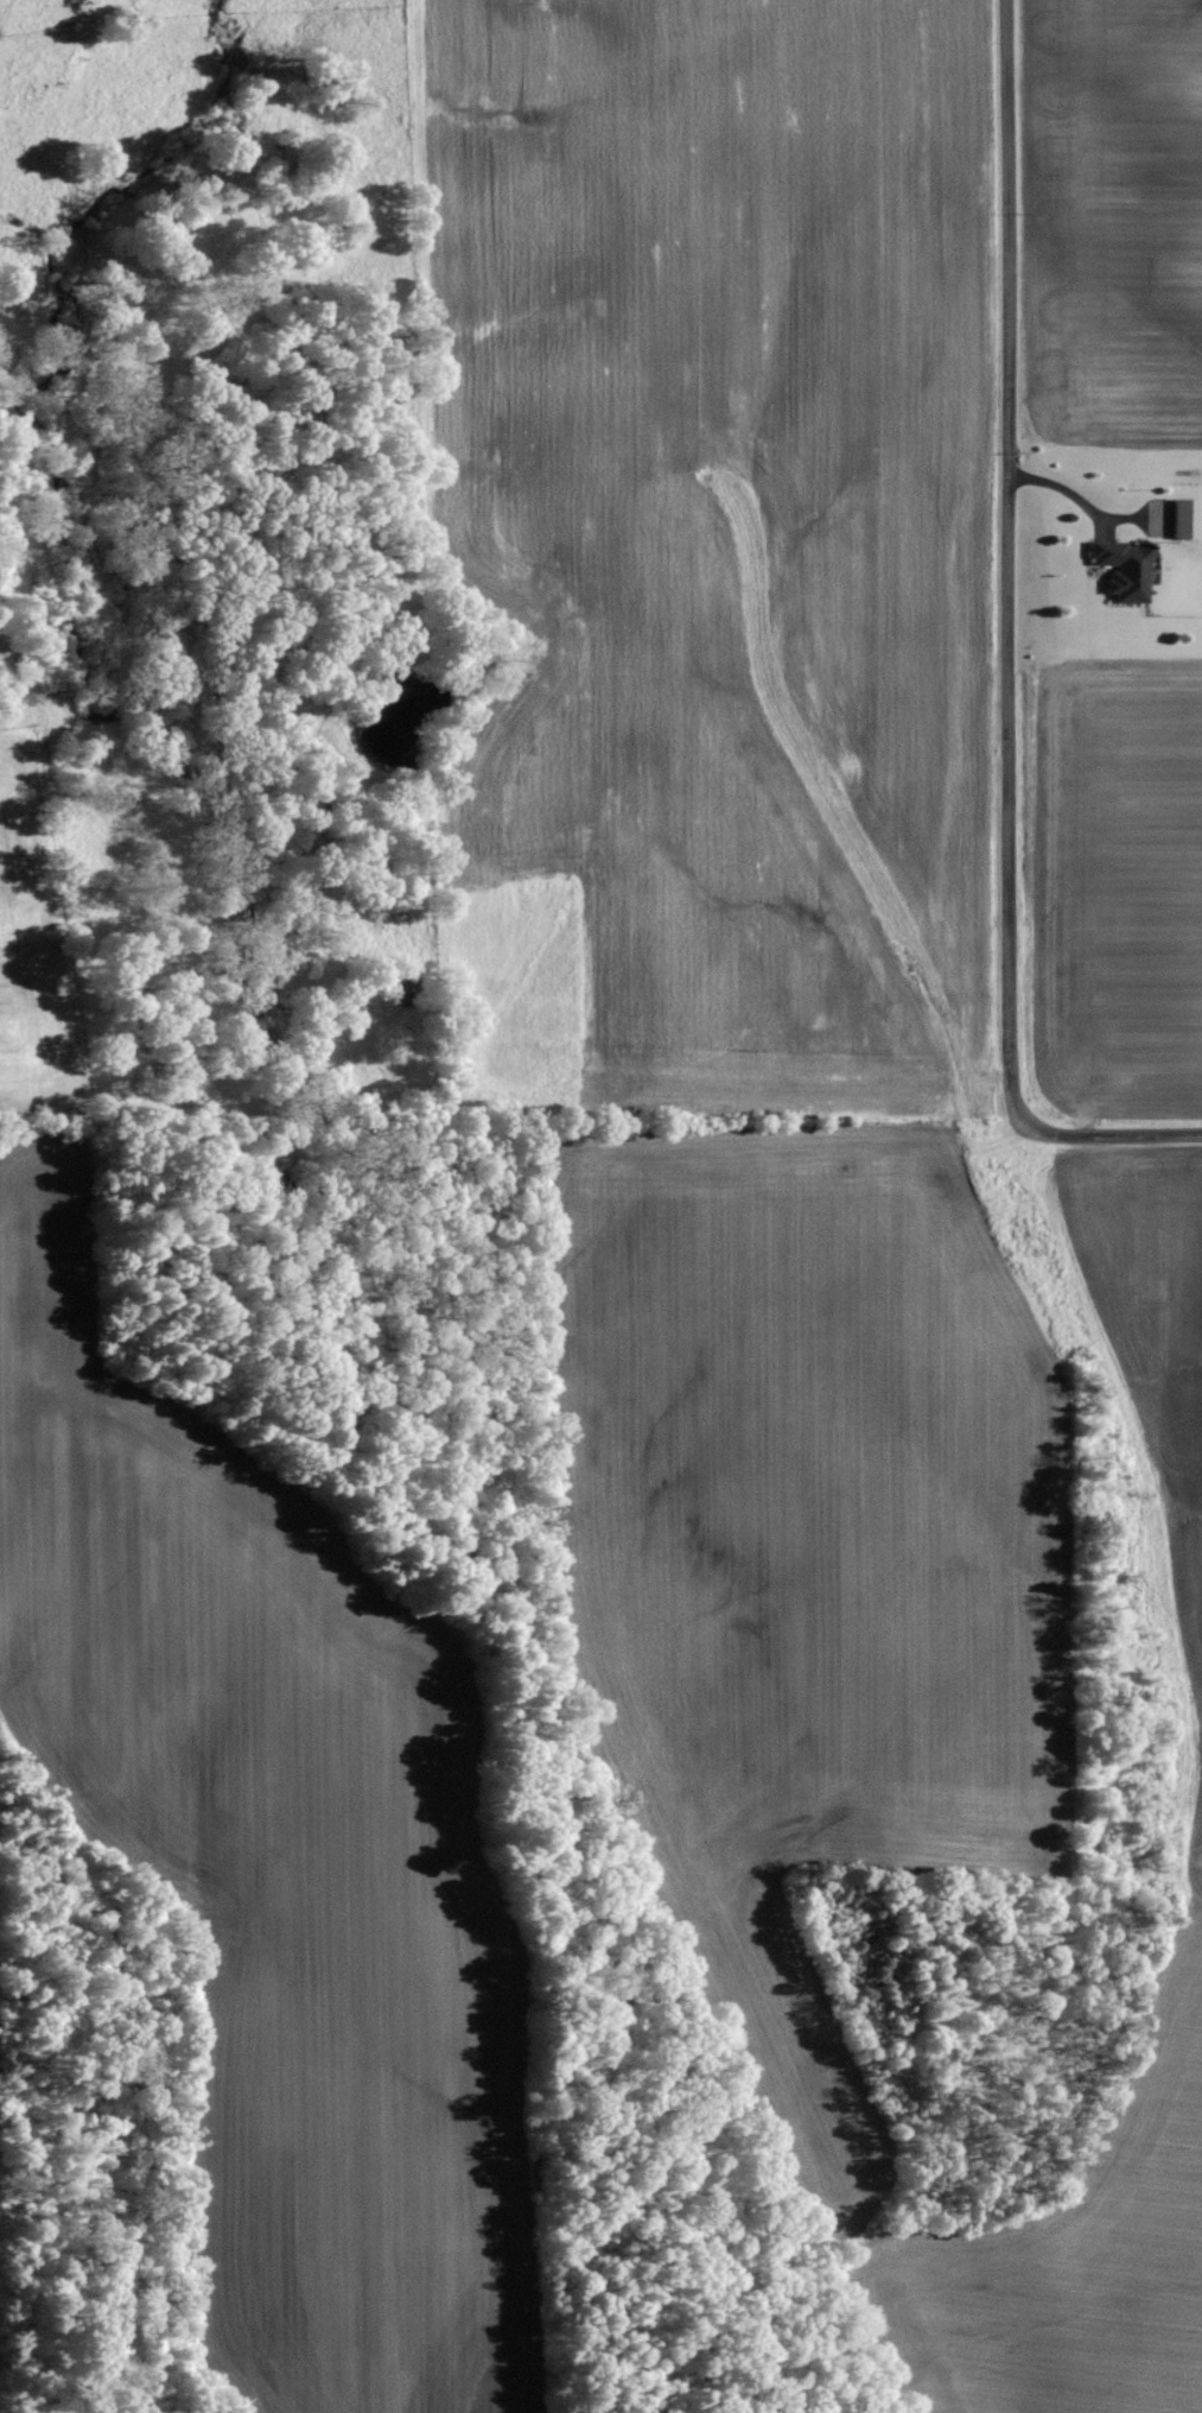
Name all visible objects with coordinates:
building: (1185, 520)
building: (1124, 570)
road: (1007, 654)

